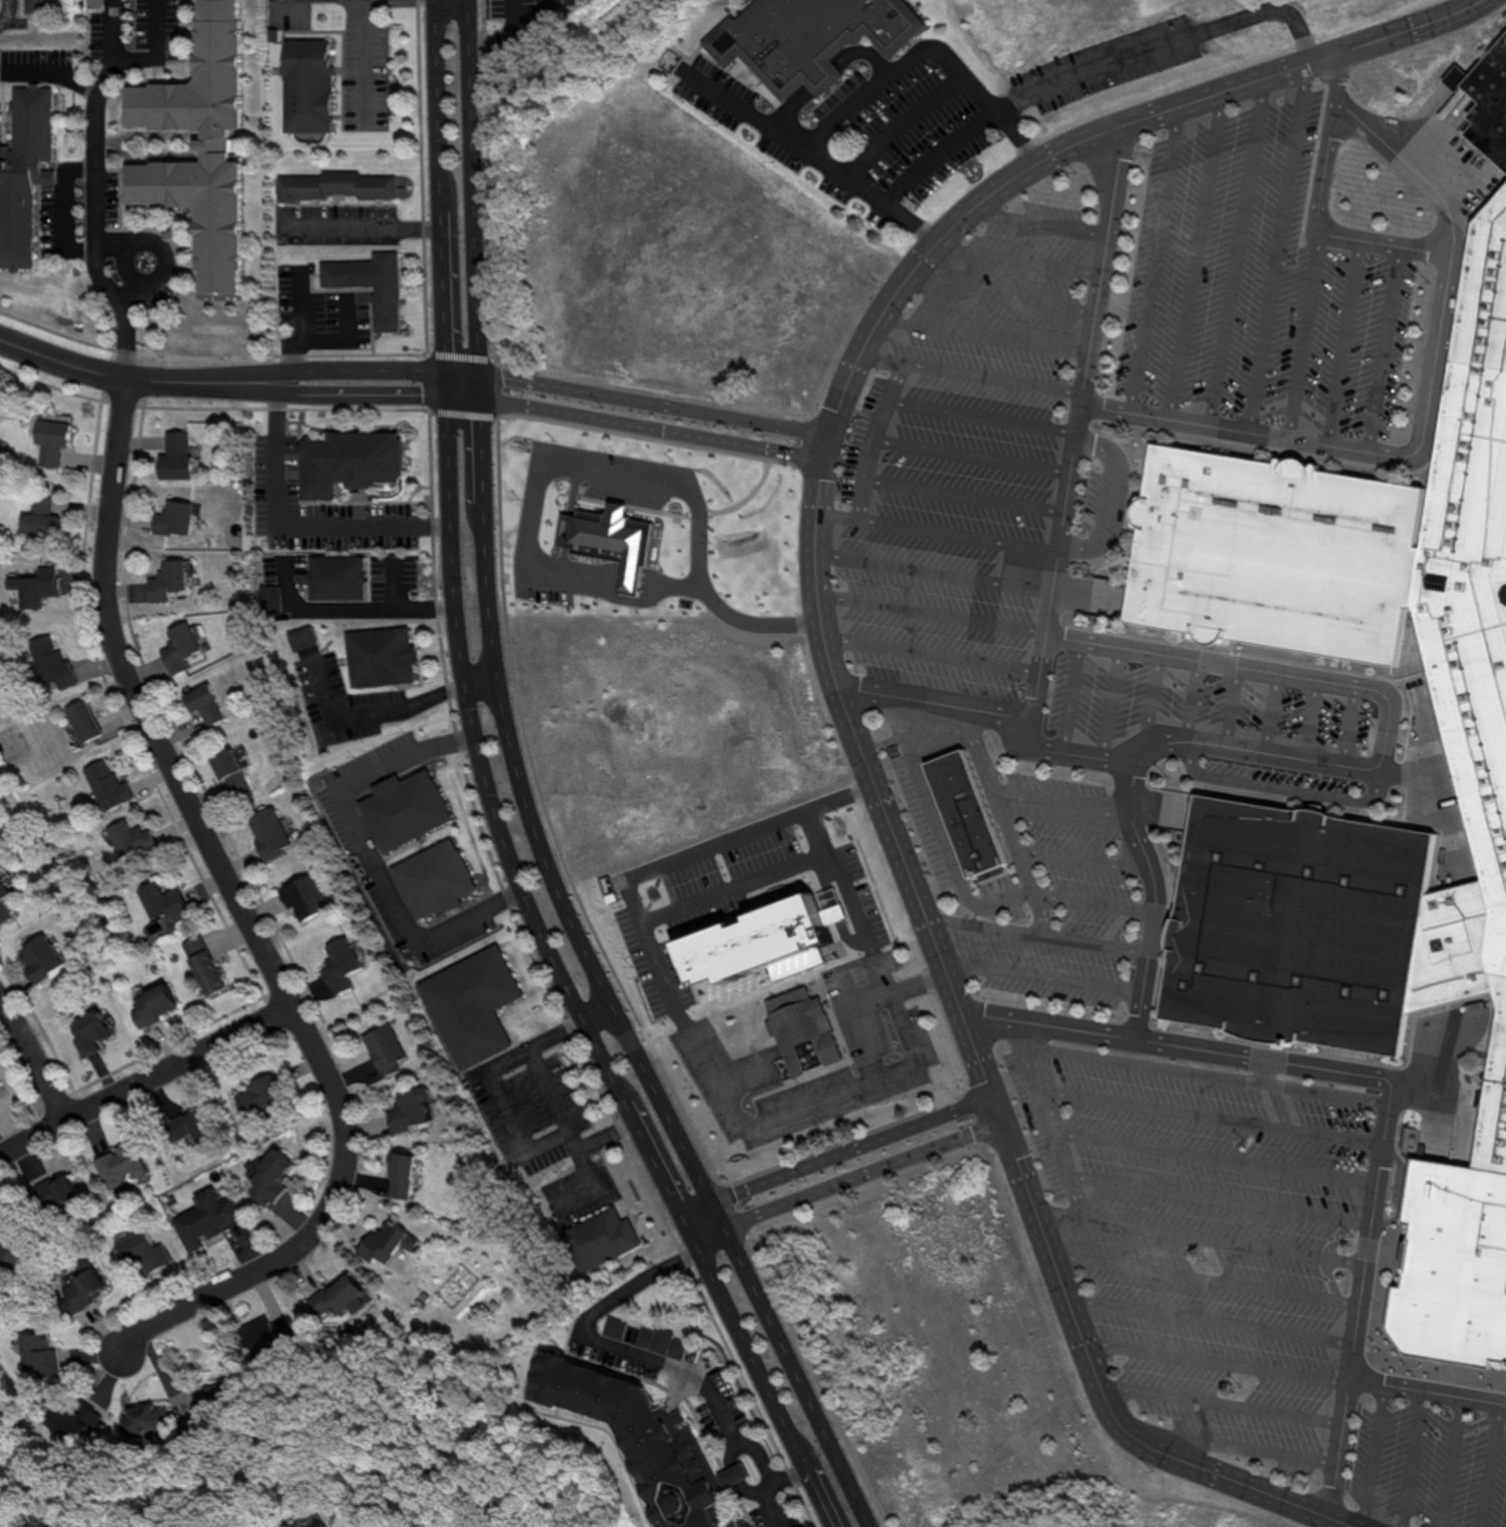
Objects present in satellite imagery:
building: (93, 2)
building: (37, 6)
road: (6, 11)
road: (501, 29)
building: (809, 33)
road: (1163, 38)
road: (159, 53)
road: (366, 61)
road: (52, 72)
building: (305, 95)
building: (1488, 102)
road: (1172, 104)
road: (960, 130)
building: (195, 148)
road: (816, 152)
building: (23, 170)
building: (335, 186)
road: (94, 190)
road: (61, 214)
road: (1044, 217)
road: (361, 222)
road: (1317, 231)
road: (1277, 245)
road: (1236, 249)
road: (162, 250)
road: (1021, 253)
road: (1195, 254)
road: (1153, 258)
road: (127, 267)
building: (369, 284)
parking lot: (1257, 286)
road: (1001, 291)
road: (987, 328)
road: (1304, 336)
road: (1342, 343)
road: (1383, 349)
road: (972, 367)
road: (364, 369)
road: (124, 377)
road: (364, 394)
road: (1428, 396)
road: (651, 403)
road: (980, 409)
road: (1077, 424)
road: (648, 428)
road: (871, 434)
building: (48, 436)
road: (971, 450)
building: (174, 456)
parking lot: (962, 458)
building: (346, 461)
parking lot: (606, 469)
road: (530, 475)
road: (569, 486)
road: (963, 489)
building: (38, 518)
building: (173, 518)
road: (298, 518)
road: (937, 528)
building: (607, 538)
road: (578, 565)
road: (934, 567)
parking lot: (536, 574)
building: (334, 576)
building: (166, 580)
road: (652, 580)
building: (33, 586)
road: (352, 602)
road: (929, 607)
road: (753, 620)
road: (486, 622)
building: (178, 646)
road: (929, 649)
building: (378, 656)
building: (49, 663)
road: (477, 674)
road: (835, 688)
road: (1068, 695)
road: (1190, 700)
road: (1107, 701)
building: (201, 703)
road: (1146, 704)
road: (1228, 706)
road: (370, 710)
road: (993, 713)
road: (1268, 713)
road: (1310, 719)
building: (81, 721)
road: (1348, 725)
building: (1472, 730)
road: (1319, 762)
building: (229, 775)
road: (1287, 782)
building: (105, 786)
road: (1061, 797)
road: (487, 800)
building: (967, 812)
road: (1003, 819)
road: (936, 829)
building: (267, 833)
building: (129, 839)
parking lot: (1075, 846)
road: (366, 850)
road: (1081, 854)
building: (431, 879)
building: (303, 897)
road: (1092, 898)
building: (3, 905)
building: (160, 906)
road: (243, 917)
road: (1035, 928)
building: (37, 958)
parking lot: (1040, 959)
building: (202, 965)
building: (338, 965)
road: (1042, 976)
building: (151, 1005)
building: (469, 1005)
road: (593, 1008)
building: (799, 1030)
building: (88, 1036)
building: (382, 1049)
road: (33, 1059)
road: (1202, 1068)
road: (1321, 1068)
road: (144, 1078)
road: (835, 1089)
building: (254, 1096)
building: (407, 1110)
road: (506, 1110)
road: (1208, 1112)
road: (1044, 1116)
building: (190, 1125)
road: (848, 1147)
road: (1212, 1154)
building: (120, 1165)
building: (398, 1176)
building: (268, 1177)
road: (844, 1179)
building: (62, 1189)
road: (1218, 1196)
road: (692, 1206)
building: (203, 1219)
road: (1198, 1233)
parking lot: (1203, 1233)
building: (597, 1238)
building: (383, 1242)
building: (141, 1251)
building: (9, 1259)
road: (1203, 1274)
building: (80, 1289)
building: (338, 1293)
road: (1208, 1314)
building: (661, 1342)
building: (35, 1355)
road: (1214, 1357)
road: (663, 1358)
road: (784, 1363)
road: (1090, 1368)
road: (1427, 1389)
road: (1220, 1400)
building: (640, 1442)
road: (1228, 1445)
road: (1337, 1446)
road: (1365, 1454)
road: (1404, 1457)
road: (1443, 1460)
parking lot: (1425, 1463)
road: (1484, 1464)
road: (783, 1472)
road: (1340, 1521)

